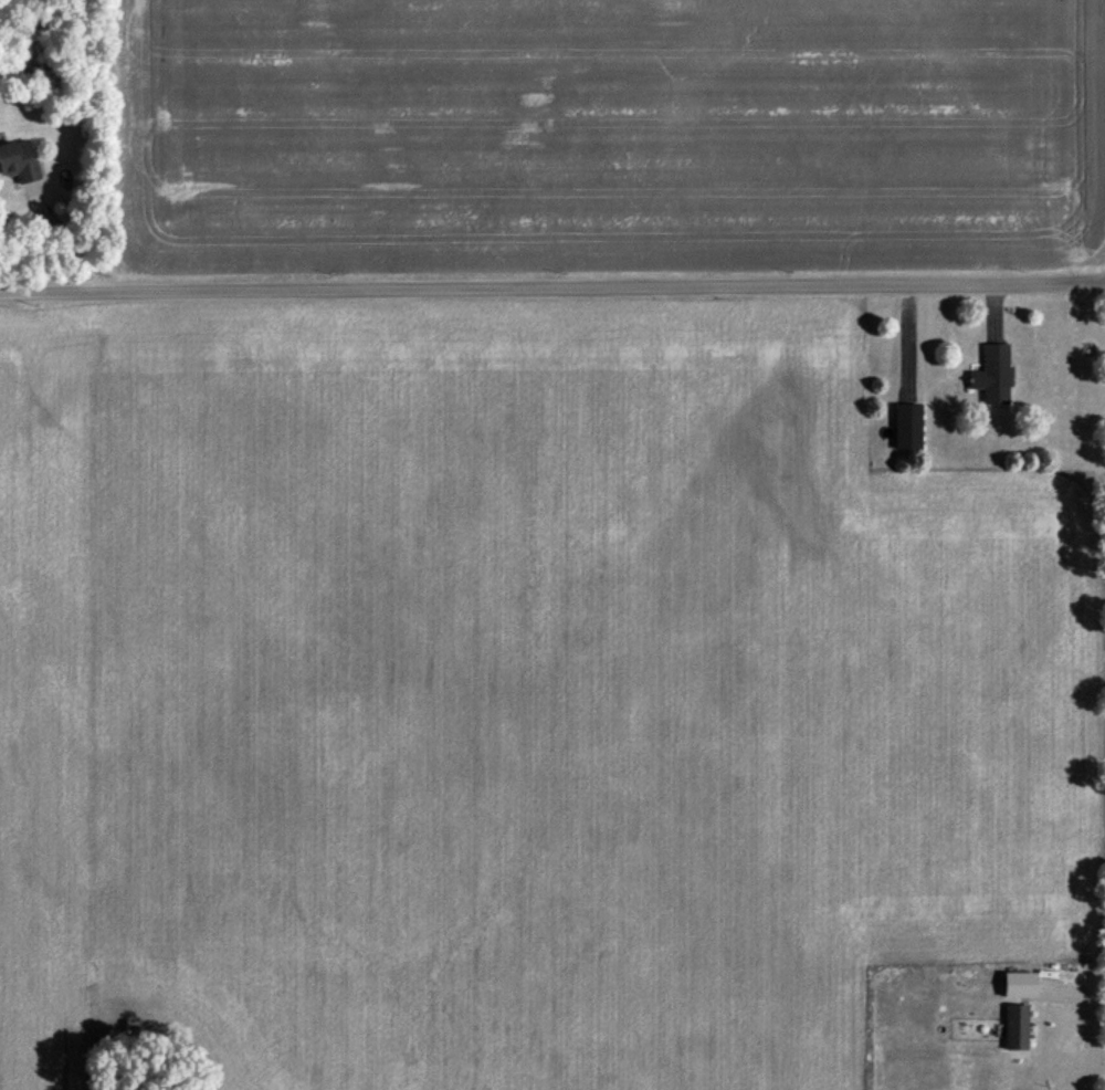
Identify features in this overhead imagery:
building: (17, 164)
road: (61, 243)
road: (551, 293)
building: (992, 379)
building: (905, 431)
building: (1013, 1031)

